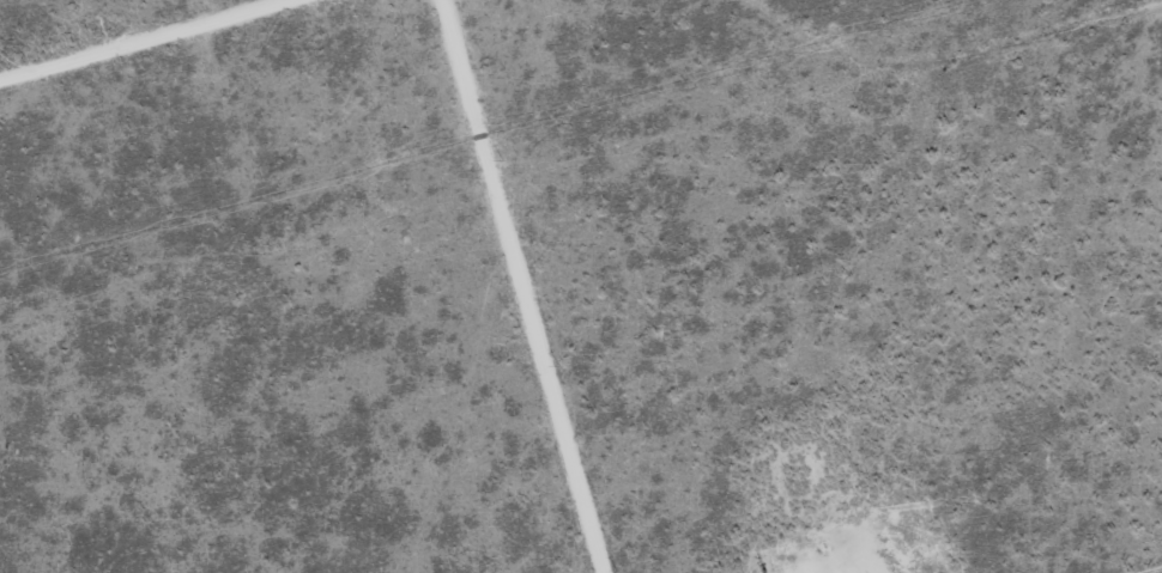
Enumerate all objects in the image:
road: (135, 37)
road: (516, 286)

